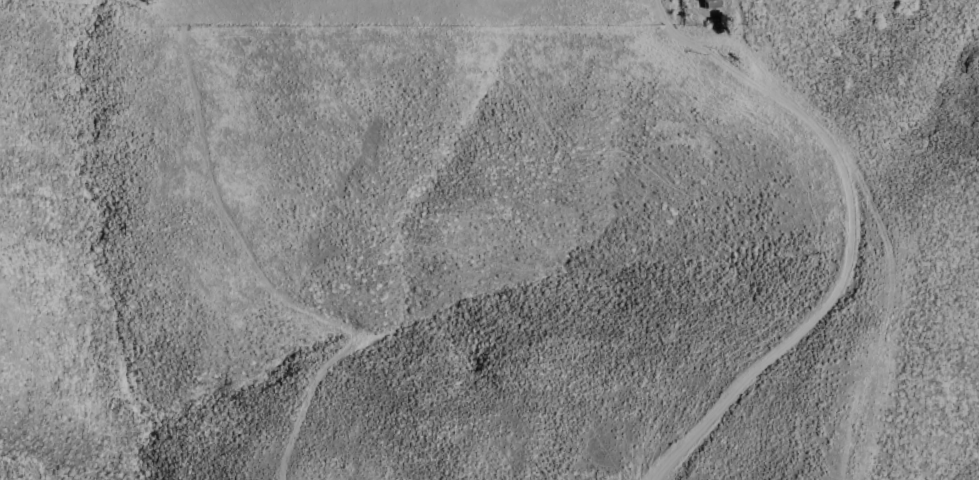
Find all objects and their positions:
building: (712, 3)
road: (865, 229)

